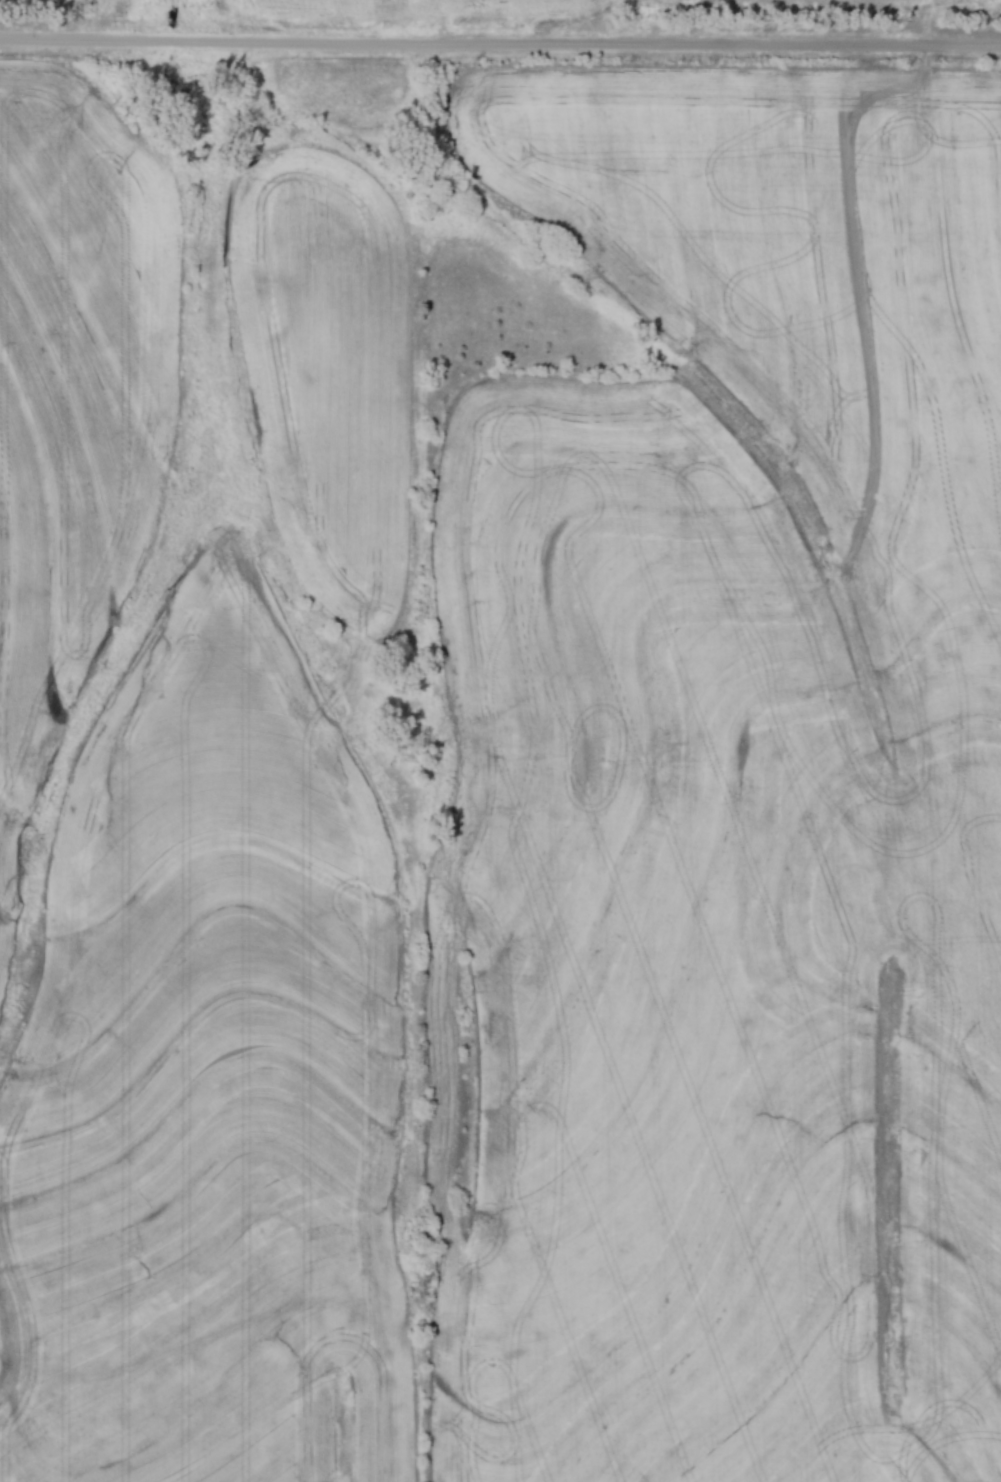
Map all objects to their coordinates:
building: (425, 3)
road: (500, 50)

